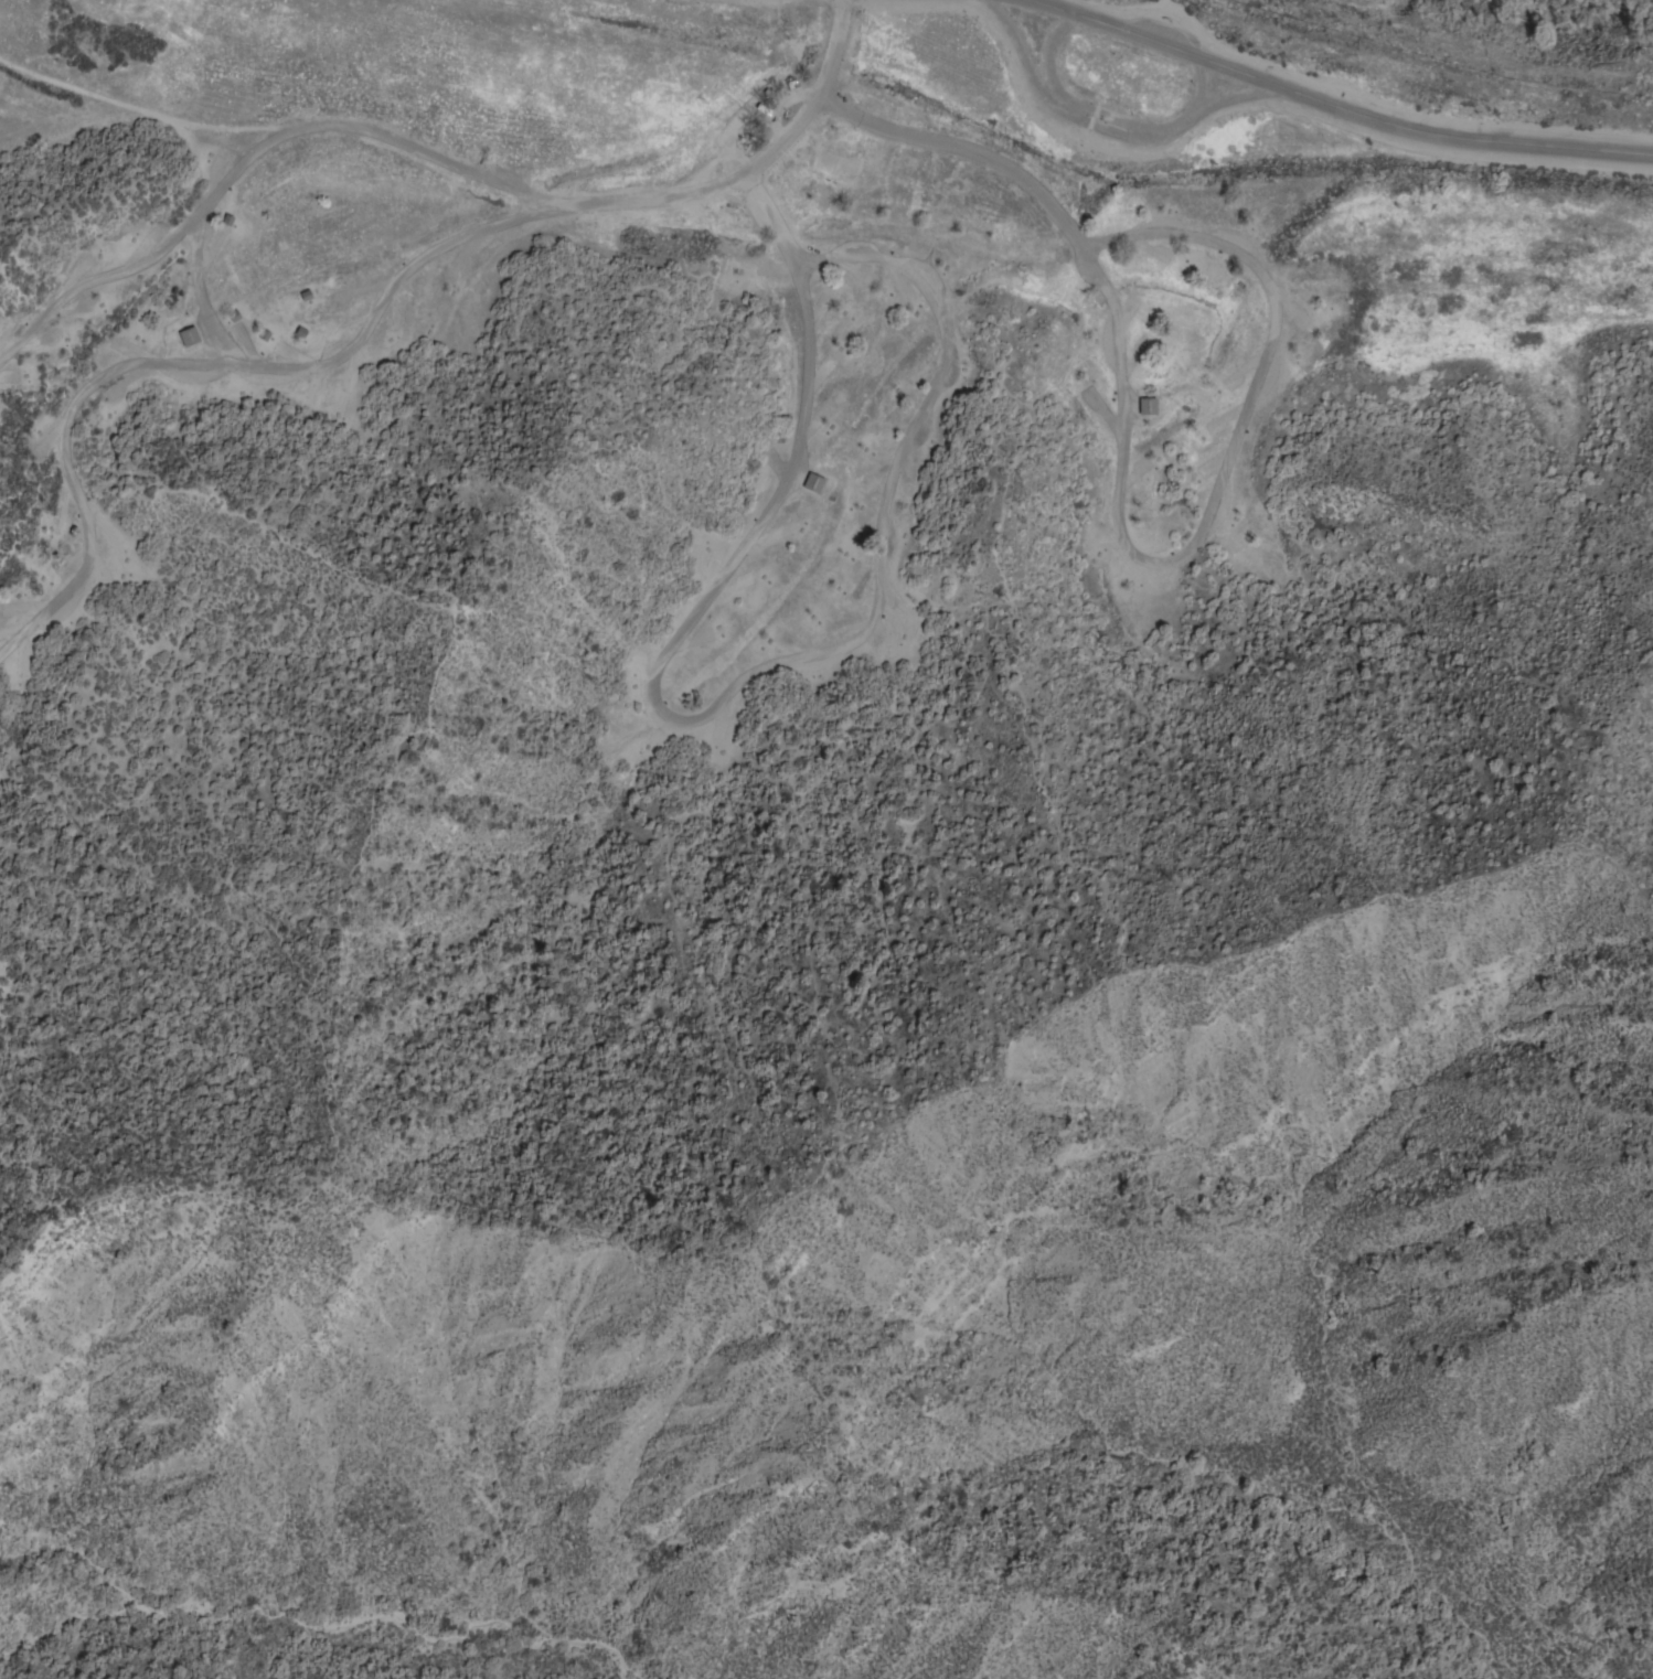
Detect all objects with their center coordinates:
road: (1330, 106)
road: (122, 111)
building: (762, 111)
road: (753, 167)
road: (471, 236)
road: (200, 292)
building: (188, 336)
road: (1266, 355)
building: (1147, 406)
building: (812, 483)
road: (716, 705)

